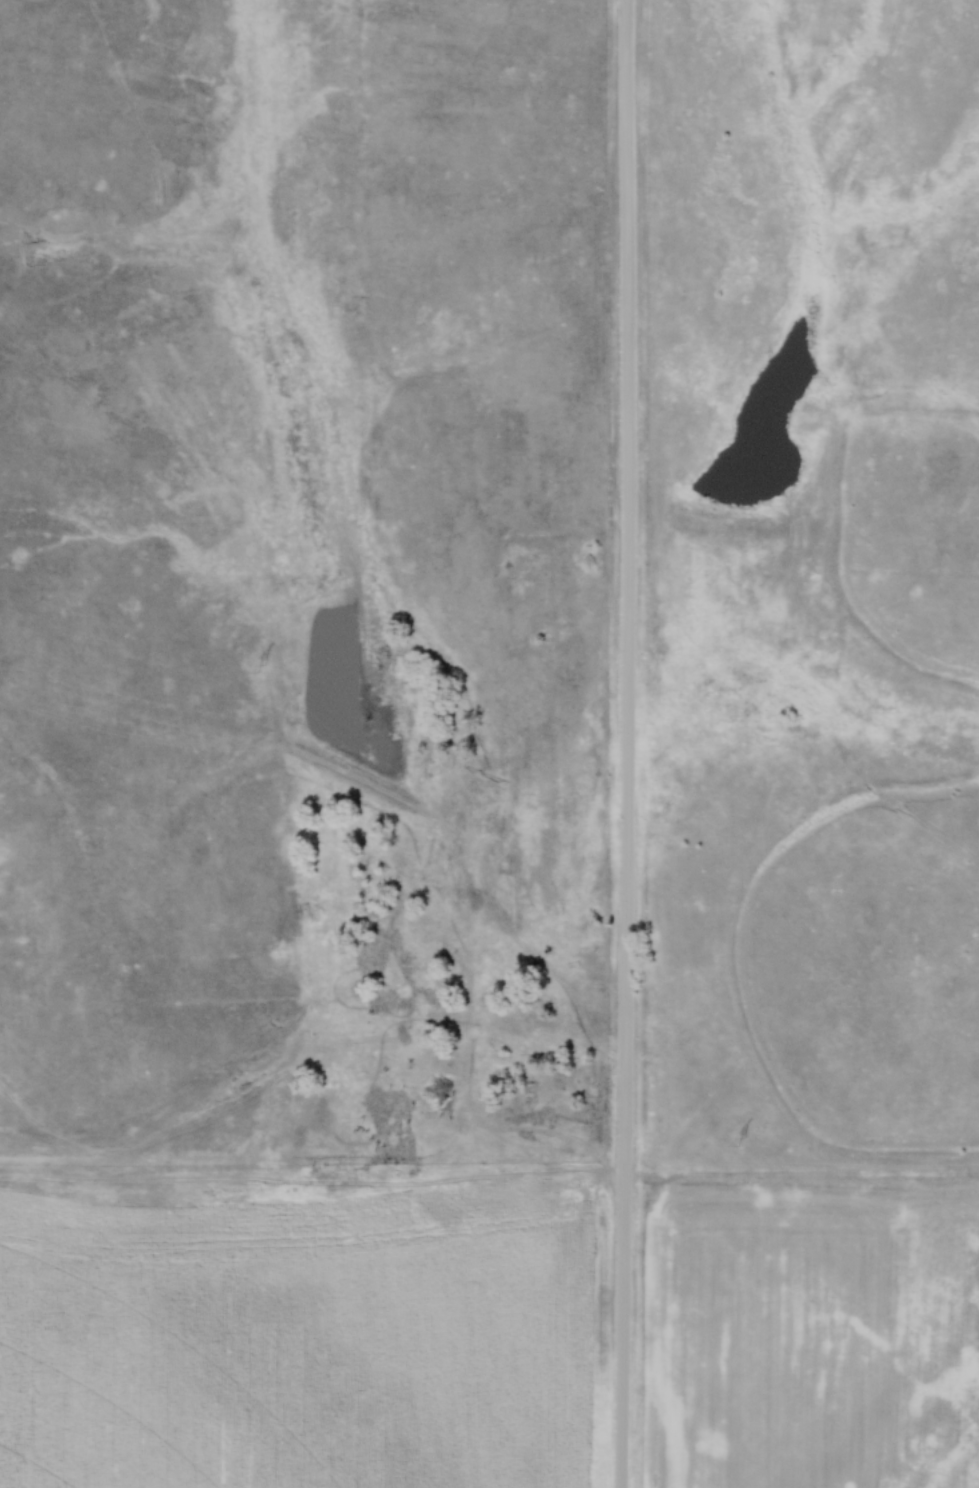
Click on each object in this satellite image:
power tower: (260, 673)
road: (627, 744)
power tower: (738, 1144)

